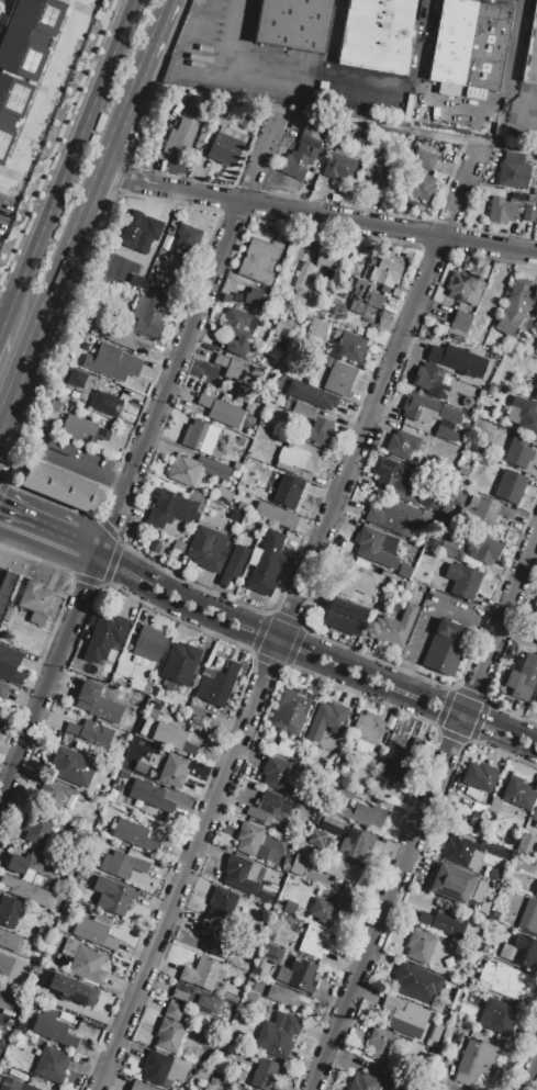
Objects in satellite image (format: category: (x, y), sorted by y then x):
parking lot: (502, 1)
building: (292, 24)
road: (126, 26)
building: (27, 33)
building: (360, 33)
building: (395, 35)
road: (422, 40)
building: (449, 45)
building: (485, 46)
road: (232, 49)
building: (530, 49)
street lamp: (89, 60)
parking lot: (240, 75)
road: (327, 75)
road: (40, 92)
parking lot: (362, 99)
road: (518, 100)
building: (11, 103)
road: (497, 103)
parking lot: (451, 110)
parking lot: (522, 113)
parking lot: (48, 121)
building: (489, 125)
street lamp: (53, 127)
building: (179, 135)
road: (56, 139)
building: (358, 142)
building: (225, 145)
building: (300, 154)
building: (423, 159)
building: (339, 166)
road: (137, 168)
building: (381, 168)
building: (513, 171)
road: (100, 177)
road: (119, 177)
road: (128, 184)
building: (423, 187)
road: (244, 188)
road: (59, 192)
building: (516, 198)
building: (532, 199)
street lamp: (32, 203)
road: (342, 205)
building: (500, 209)
building: (528, 213)
road: (233, 214)
road: (347, 222)
road: (446, 223)
road: (460, 223)
building: (139, 232)
building: (187, 237)
road: (433, 249)
building: (325, 256)
building: (258, 260)
road: (197, 270)
building: (385, 273)
building: (302, 276)
building: (136, 280)
building: (463, 288)
building: (438, 294)
building: (251, 296)
building: (374, 300)
building: (295, 302)
building: (515, 305)
building: (148, 314)
building: (459, 321)
building: (235, 329)
building: (316, 329)
road: (1, 335)
road: (188, 337)
building: (128, 339)
building: (351, 347)
building: (535, 349)
building: (456, 359)
building: (111, 362)
building: (237, 371)
building: (432, 374)
building: (76, 378)
building: (338, 379)
road: (14, 389)
building: (490, 390)
building: (536, 395)
building: (311, 396)
building: (105, 404)
building: (426, 407)
building: (302, 409)
building: (221, 411)
road: (24, 413)
building: (523, 416)
building: (423, 427)
building: (76, 430)
building: (318, 430)
building: (445, 434)
building: (203, 438)
building: (401, 443)
building: (517, 452)
parking lot: (74, 458)
building: (298, 458)
road: (88, 462)
building: (195, 470)
road: (0, 473)
building: (392, 473)
road: (3, 480)
road: (112, 480)
building: (60, 486)
building: (508, 487)
road: (2, 491)
building: (288, 492)
building: (175, 508)
building: (485, 513)
building: (275, 515)
building: (395, 517)
road: (36, 532)
building: (374, 546)
building: (208, 548)
building: (447, 548)
building: (486, 550)
road: (86, 553)
road: (294, 560)
road: (111, 561)
road: (42, 562)
building: (264, 564)
building: (233, 566)
road: (317, 571)
building: (403, 571)
building: (461, 580)
building: (351, 582)
building: (5, 587)
building: (34, 597)
road: (432, 614)
building: (535, 614)
building: (339, 617)
road: (288, 619)
road: (186, 620)
parking lot: (470, 623)
building: (392, 627)
building: (104, 638)
building: (148, 643)
building: (444, 647)
road: (316, 649)
road: (497, 656)
building: (180, 663)
building: (9, 664)
road: (283, 665)
road: (313, 666)
building: (523, 677)
road: (49, 681)
building: (215, 684)
building: (2, 689)
road: (359, 693)
building: (536, 701)
building: (97, 703)
building: (154, 709)
building: (194, 710)
building: (291, 710)
building: (325, 720)
building: (367, 728)
building: (90, 732)
building: (168, 735)
road: (469, 741)
road: (489, 746)
building: (401, 765)
building: (71, 766)
building: (276, 767)
building: (172, 771)
building: (479, 776)
building: (345, 793)
building: (517, 793)
building: (52, 794)
building: (149, 795)
building: (477, 796)
building: (494, 806)
building: (267, 808)
road: (424, 812)
building: (363, 814)
building: (536, 821)
building: (37, 829)
building: (133, 834)
building: (247, 838)
building: (355, 844)
building: (525, 844)
building: (490, 847)
building: (459, 850)
building: (122, 864)
building: (299, 865)
building: (34, 868)
building: (342, 872)
building: (243, 874)
building: (451, 884)
building: (27, 890)
building: (536, 892)
building: (112, 895)
building: (222, 902)
building: (289, 907)
building: (327, 908)
building: (10, 911)
building: (528, 917)
building: (443, 922)
building: (94, 931)
building: (41, 934)
building: (56, 936)
building: (215, 939)
building: (10, 941)
building: (314, 942)
building: (418, 946)
building: (519, 951)
building: (270, 953)
building: (4, 964)
building: (88, 965)
building: (202, 974)
building: (298, 975)
building: (505, 980)
building: (416, 982)
building: (260, 988)
building: (71, 989)
building: (250, 997)
building: (284, 997)
building: (194, 998)
building: (230, 998)
parking lot: (8, 1004)
building: (404, 1015)
building: (495, 1016)
building: (52, 1027)
building: (169, 1027)
building: (278, 1035)
building: (379, 1044)
building: (476, 1061)
building: (51, 1064)
building: (161, 1069)
building: (265, 1075)
road: (532, 1078)
building: (363, 1081)
building: (14, 1085)
building: (138, 1087)
building: (245, 1089)

